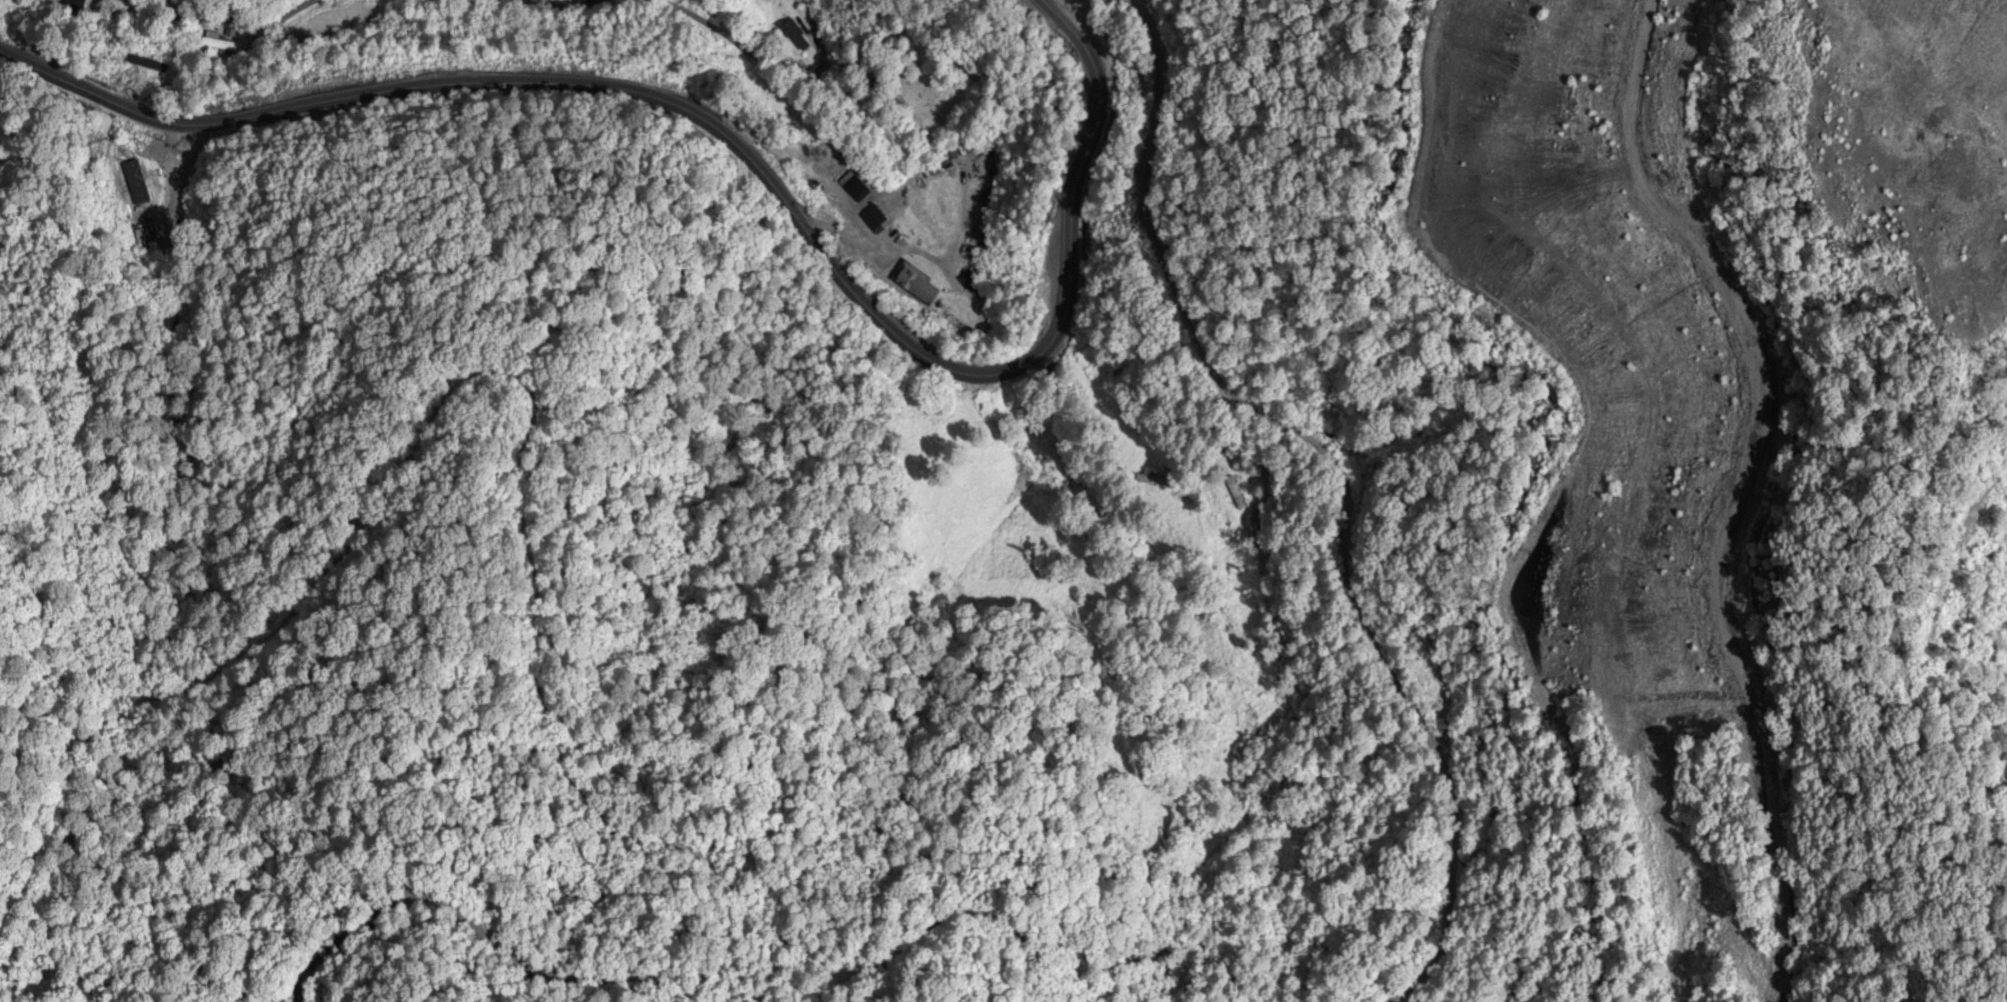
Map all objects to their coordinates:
building: (797, 36)
building: (216, 44)
road: (221, 59)
building: (142, 64)
road: (741, 153)
building: (138, 182)
building: (861, 193)
building: (877, 220)
building: (916, 284)

